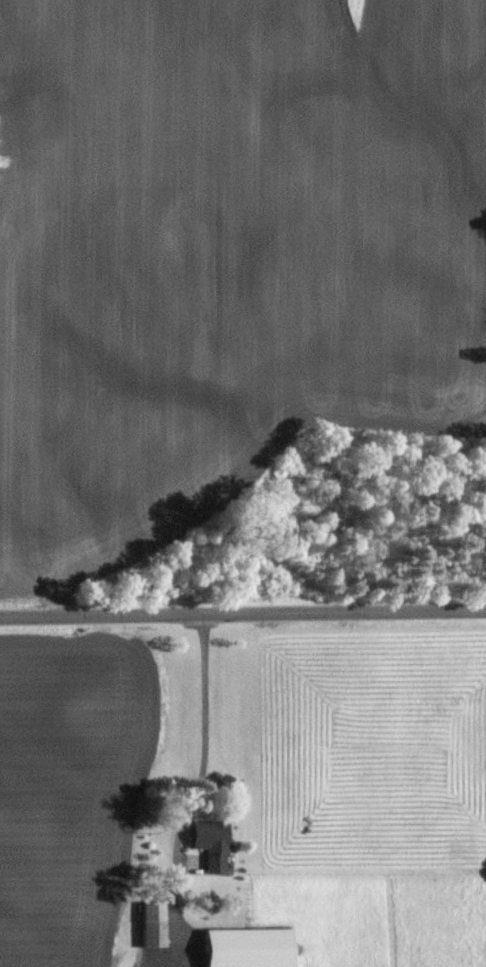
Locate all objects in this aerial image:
road: (242, 612)
road: (203, 734)
building: (209, 846)
building: (154, 922)
building: (248, 947)

